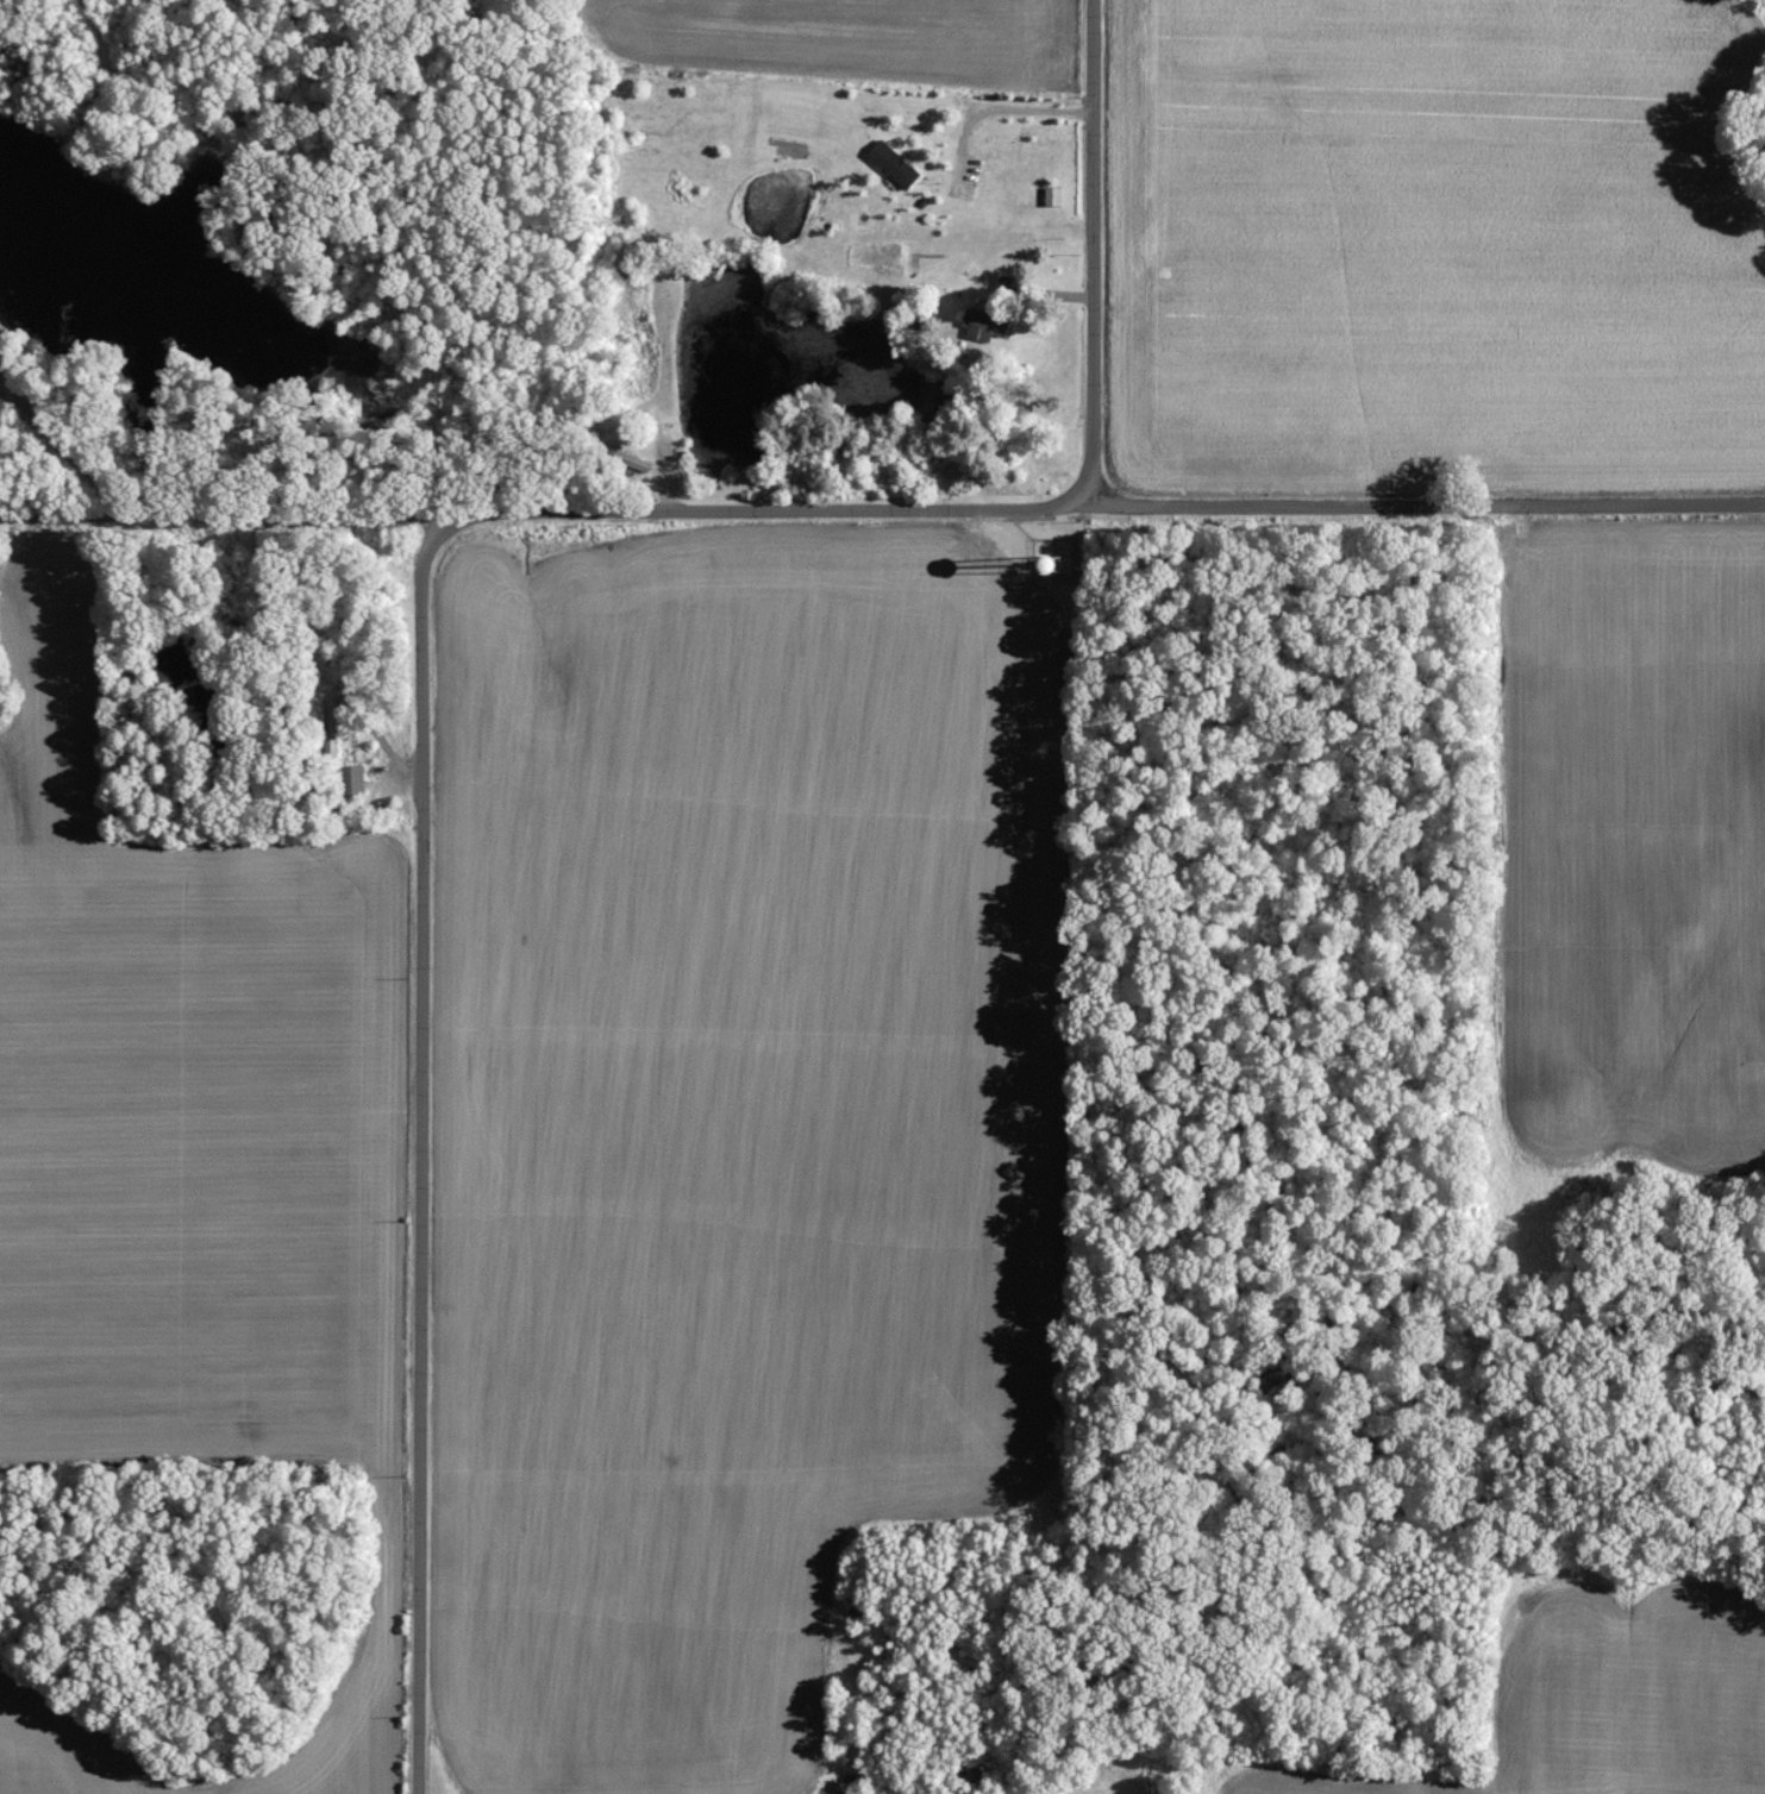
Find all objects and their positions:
road: (995, 115)
building: (896, 165)
road: (1090, 253)
road: (55, 440)
building: (638, 464)
road: (1099, 507)
road: (217, 512)
building: (351, 778)
road: (419, 1153)

